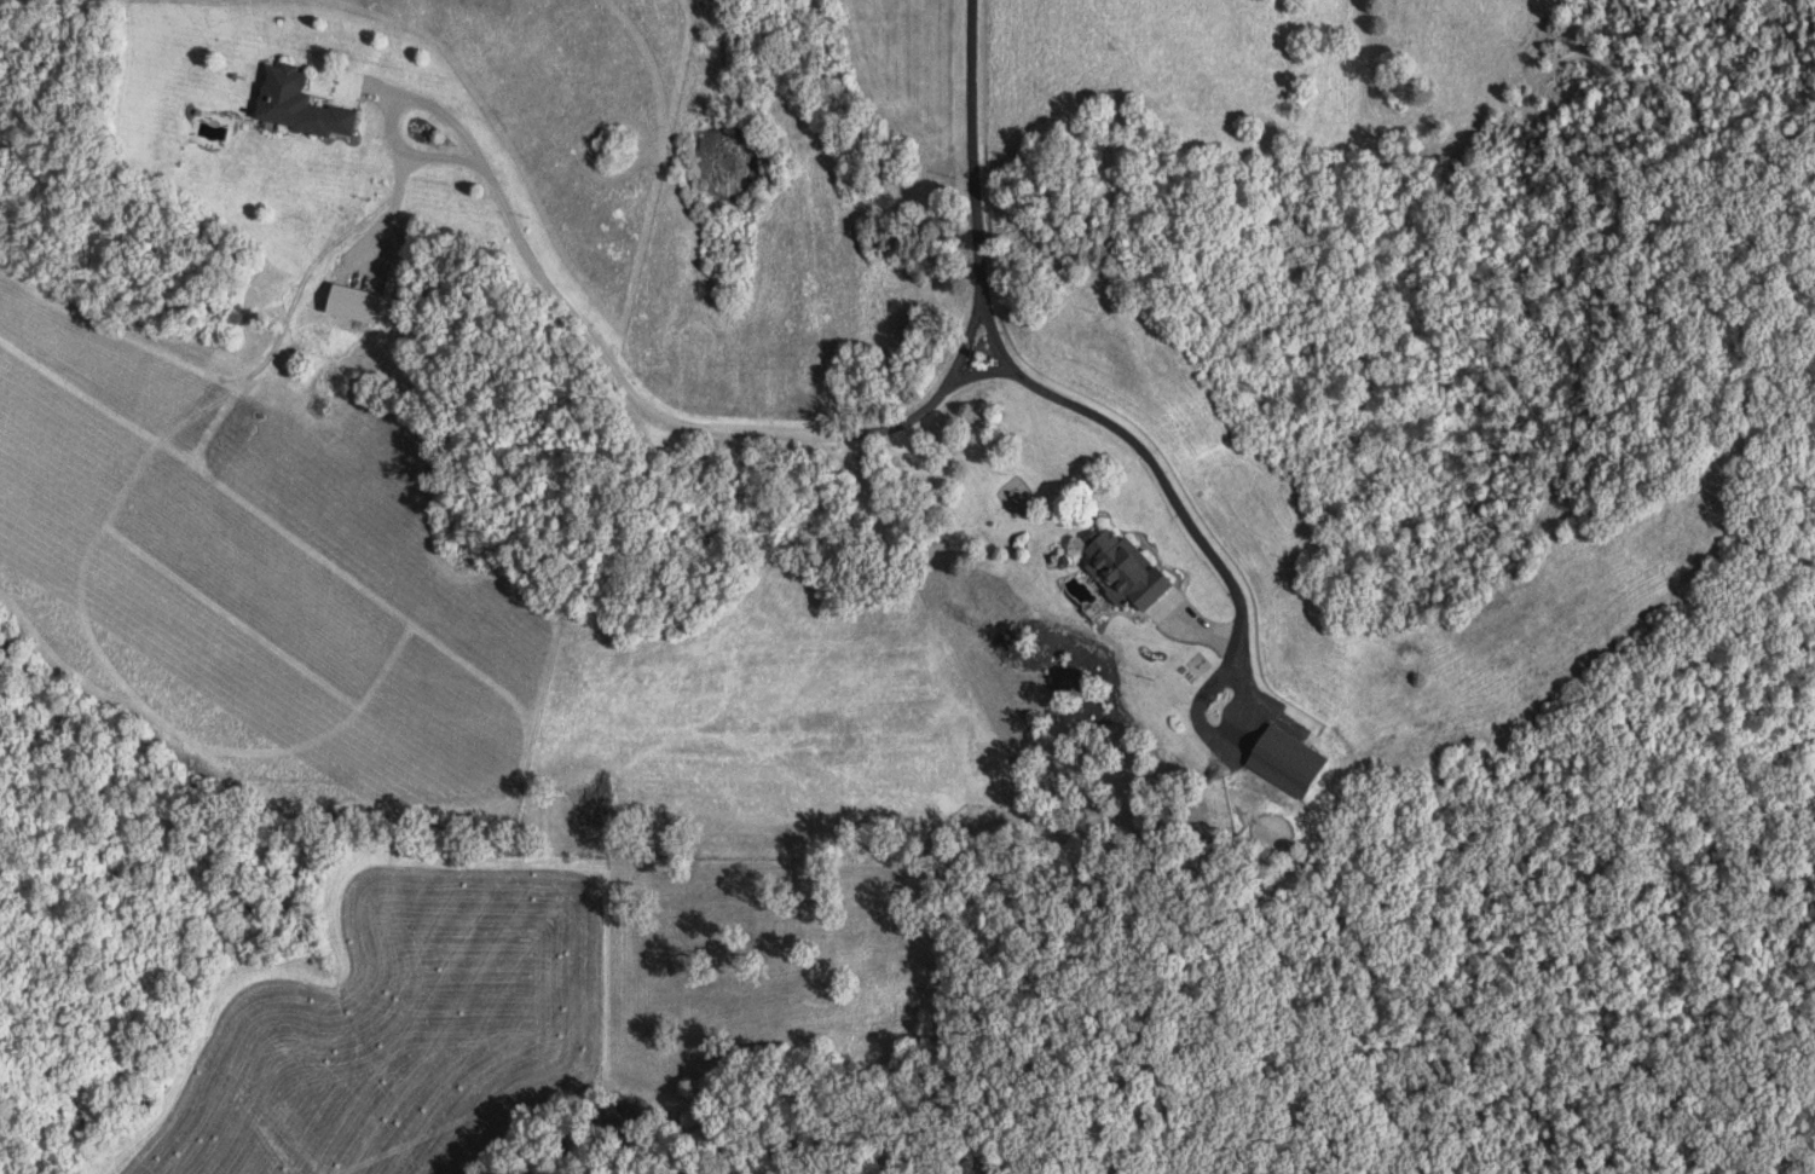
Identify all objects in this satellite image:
building: (291, 106)
road: (395, 115)
road: (848, 432)
road: (1145, 455)
building: (1117, 571)
building: (1279, 763)

